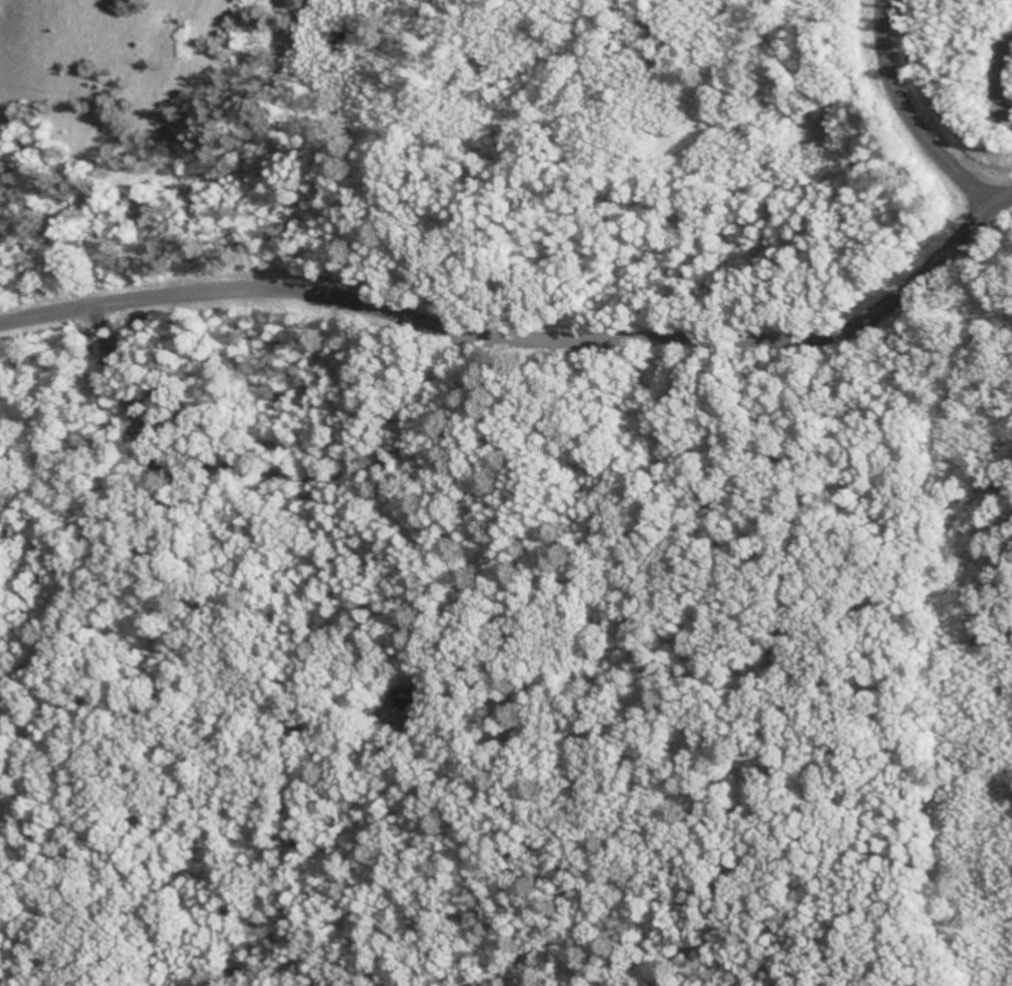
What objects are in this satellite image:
road: (903, 115)
road: (529, 340)
building: (409, 700)

